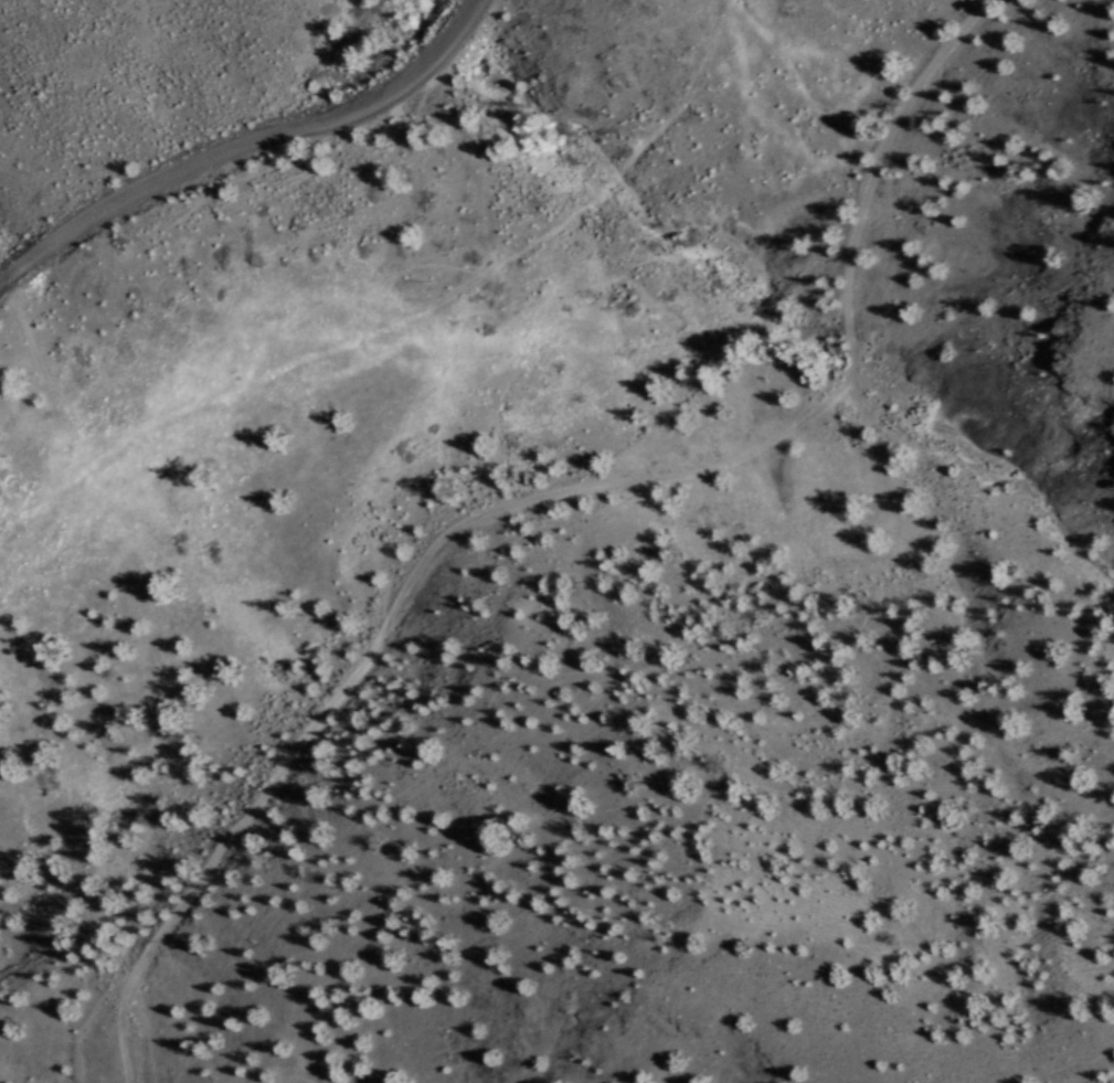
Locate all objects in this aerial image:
road: (172, 128)

